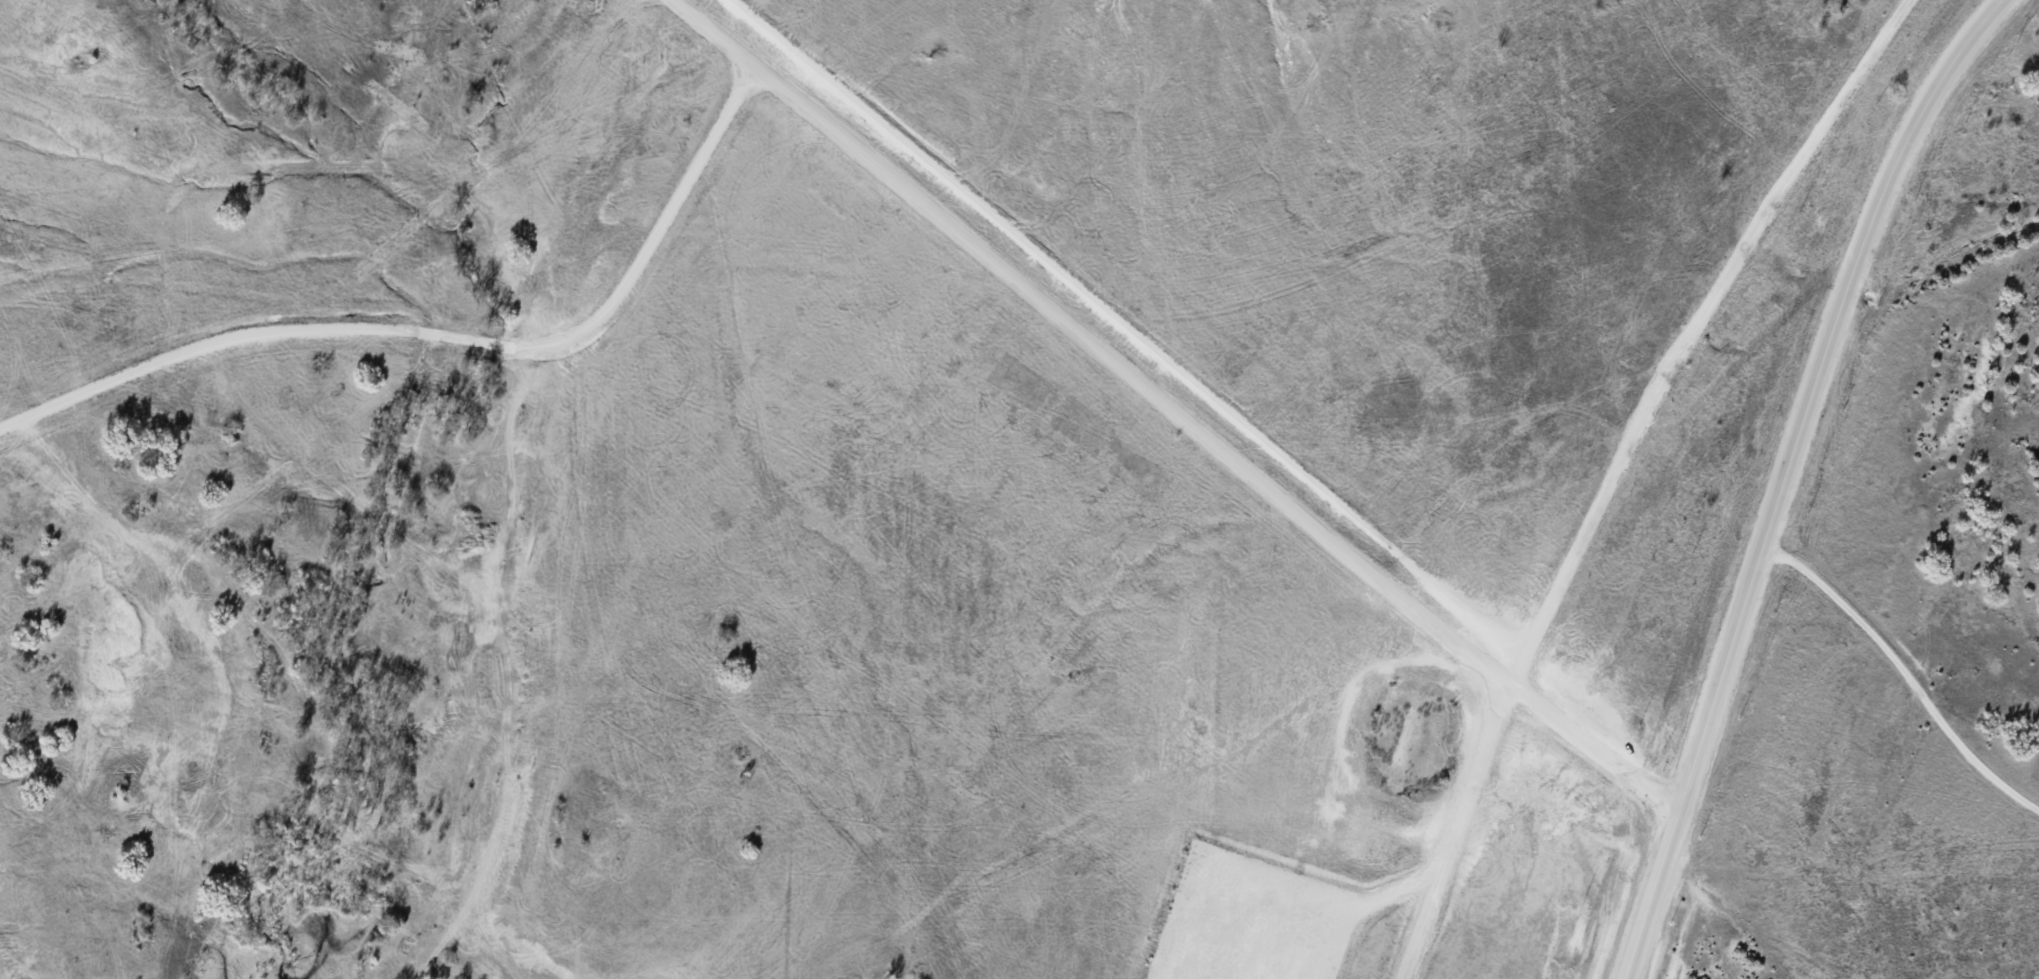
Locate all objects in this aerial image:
road: (1127, 326)
road: (462, 344)
road: (1814, 395)
road: (1175, 409)
road: (1618, 470)
road: (1649, 899)

